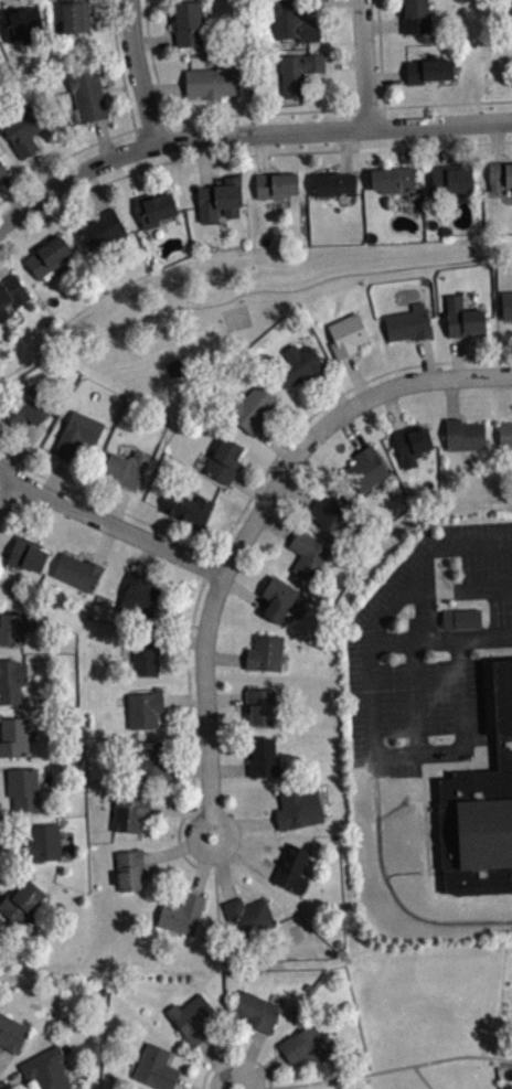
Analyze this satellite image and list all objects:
road: (311, 1)
building: (511, 2)
road: (6, 3)
building: (75, 14)
building: (415, 15)
building: (291, 20)
building: (188, 22)
building: (21, 23)
road: (382, 24)
road: (153, 40)
road: (380, 53)
road: (152, 60)
road: (344, 60)
road: (364, 63)
road: (119, 64)
building: (427, 68)
road: (139, 71)
building: (298, 72)
road: (385, 75)
building: (211, 81)
road: (163, 87)
building: (86, 95)
road: (444, 103)
road: (365, 107)
road: (257, 113)
road: (150, 121)
building: (23, 127)
road: (244, 132)
road: (103, 137)
road: (495, 141)
road: (436, 143)
road: (404, 146)
road: (344, 149)
road: (244, 152)
road: (262, 152)
road: (66, 154)
road: (203, 160)
building: (2, 168)
road: (42, 170)
road: (132, 173)
building: (500, 173)
building: (392, 178)
building: (449, 179)
building: (333, 182)
building: (276, 184)
road: (94, 189)
road: (11, 192)
building: (217, 197)
building: (153, 207)
building: (103, 228)
road: (19, 237)
building: (47, 256)
road: (3, 271)
road: (298, 288)
building: (11, 293)
building: (506, 305)
park: (230, 307)
building: (462, 318)
building: (407, 322)
building: (346, 334)
road: (456, 356)
road: (426, 357)
building: (297, 364)
road: (355, 376)
road: (332, 389)
road: (451, 397)
road: (323, 404)
building: (249, 407)
building: (26, 408)
road: (392, 408)
road: (331, 419)
road: (351, 431)
building: (77, 434)
building: (463, 435)
building: (504, 435)
road: (275, 442)
building: (410, 444)
road: (19, 446)
building: (224, 460)
building: (126, 468)
building: (365, 469)
road: (1, 472)
road: (53, 474)
road: (249, 487)
road: (7, 488)
road: (294, 494)
road: (105, 501)
road: (117, 503)
building: (189, 508)
building: (328, 512)
road: (109, 522)
road: (276, 524)
road: (186, 538)
road: (105, 543)
road: (6, 544)
building: (26, 553)
building: (308, 554)
road: (145, 557)
building: (77, 572)
road: (457, 589)
road: (243, 591)
building: (138, 596)
building: (278, 597)
road: (423, 615)
road: (375, 624)
building: (465, 626)
building: (12, 627)
road: (486, 634)
road: (456, 637)
road: (392, 639)
road: (183, 641)
parking lot: (427, 648)
building: (146, 652)
building: (265, 652)
road: (224, 655)
building: (12, 680)
road: (225, 697)
road: (183, 698)
road: (205, 702)
building: (260, 705)
building: (145, 708)
road: (189, 715)
building: (13, 736)
building: (263, 757)
building: (153, 759)
road: (227, 767)
road: (188, 769)
road: (3, 776)
building: (23, 788)
building: (298, 807)
building: (480, 807)
road: (184, 810)
building: (129, 812)
road: (243, 823)
building: (43, 842)
road: (178, 846)
road: (11, 850)
road: (243, 853)
road: (202, 862)
road: (222, 865)
building: (129, 868)
building: (292, 868)
road: (1, 898)
building: (21, 901)
building: (181, 914)
building: (247, 916)
road: (220, 961)
building: (256, 1011)
building: (192, 1018)
park: (434, 1018)
building: (11, 1033)
building: (305, 1046)
road: (234, 1054)
road: (4, 1055)
road: (247, 1059)
road: (217, 1064)
building: (156, 1067)
building: (45, 1069)
road: (373, 1070)
road: (259, 1071)
road: (422, 1076)
road: (10, 1078)
road: (182, 1085)

